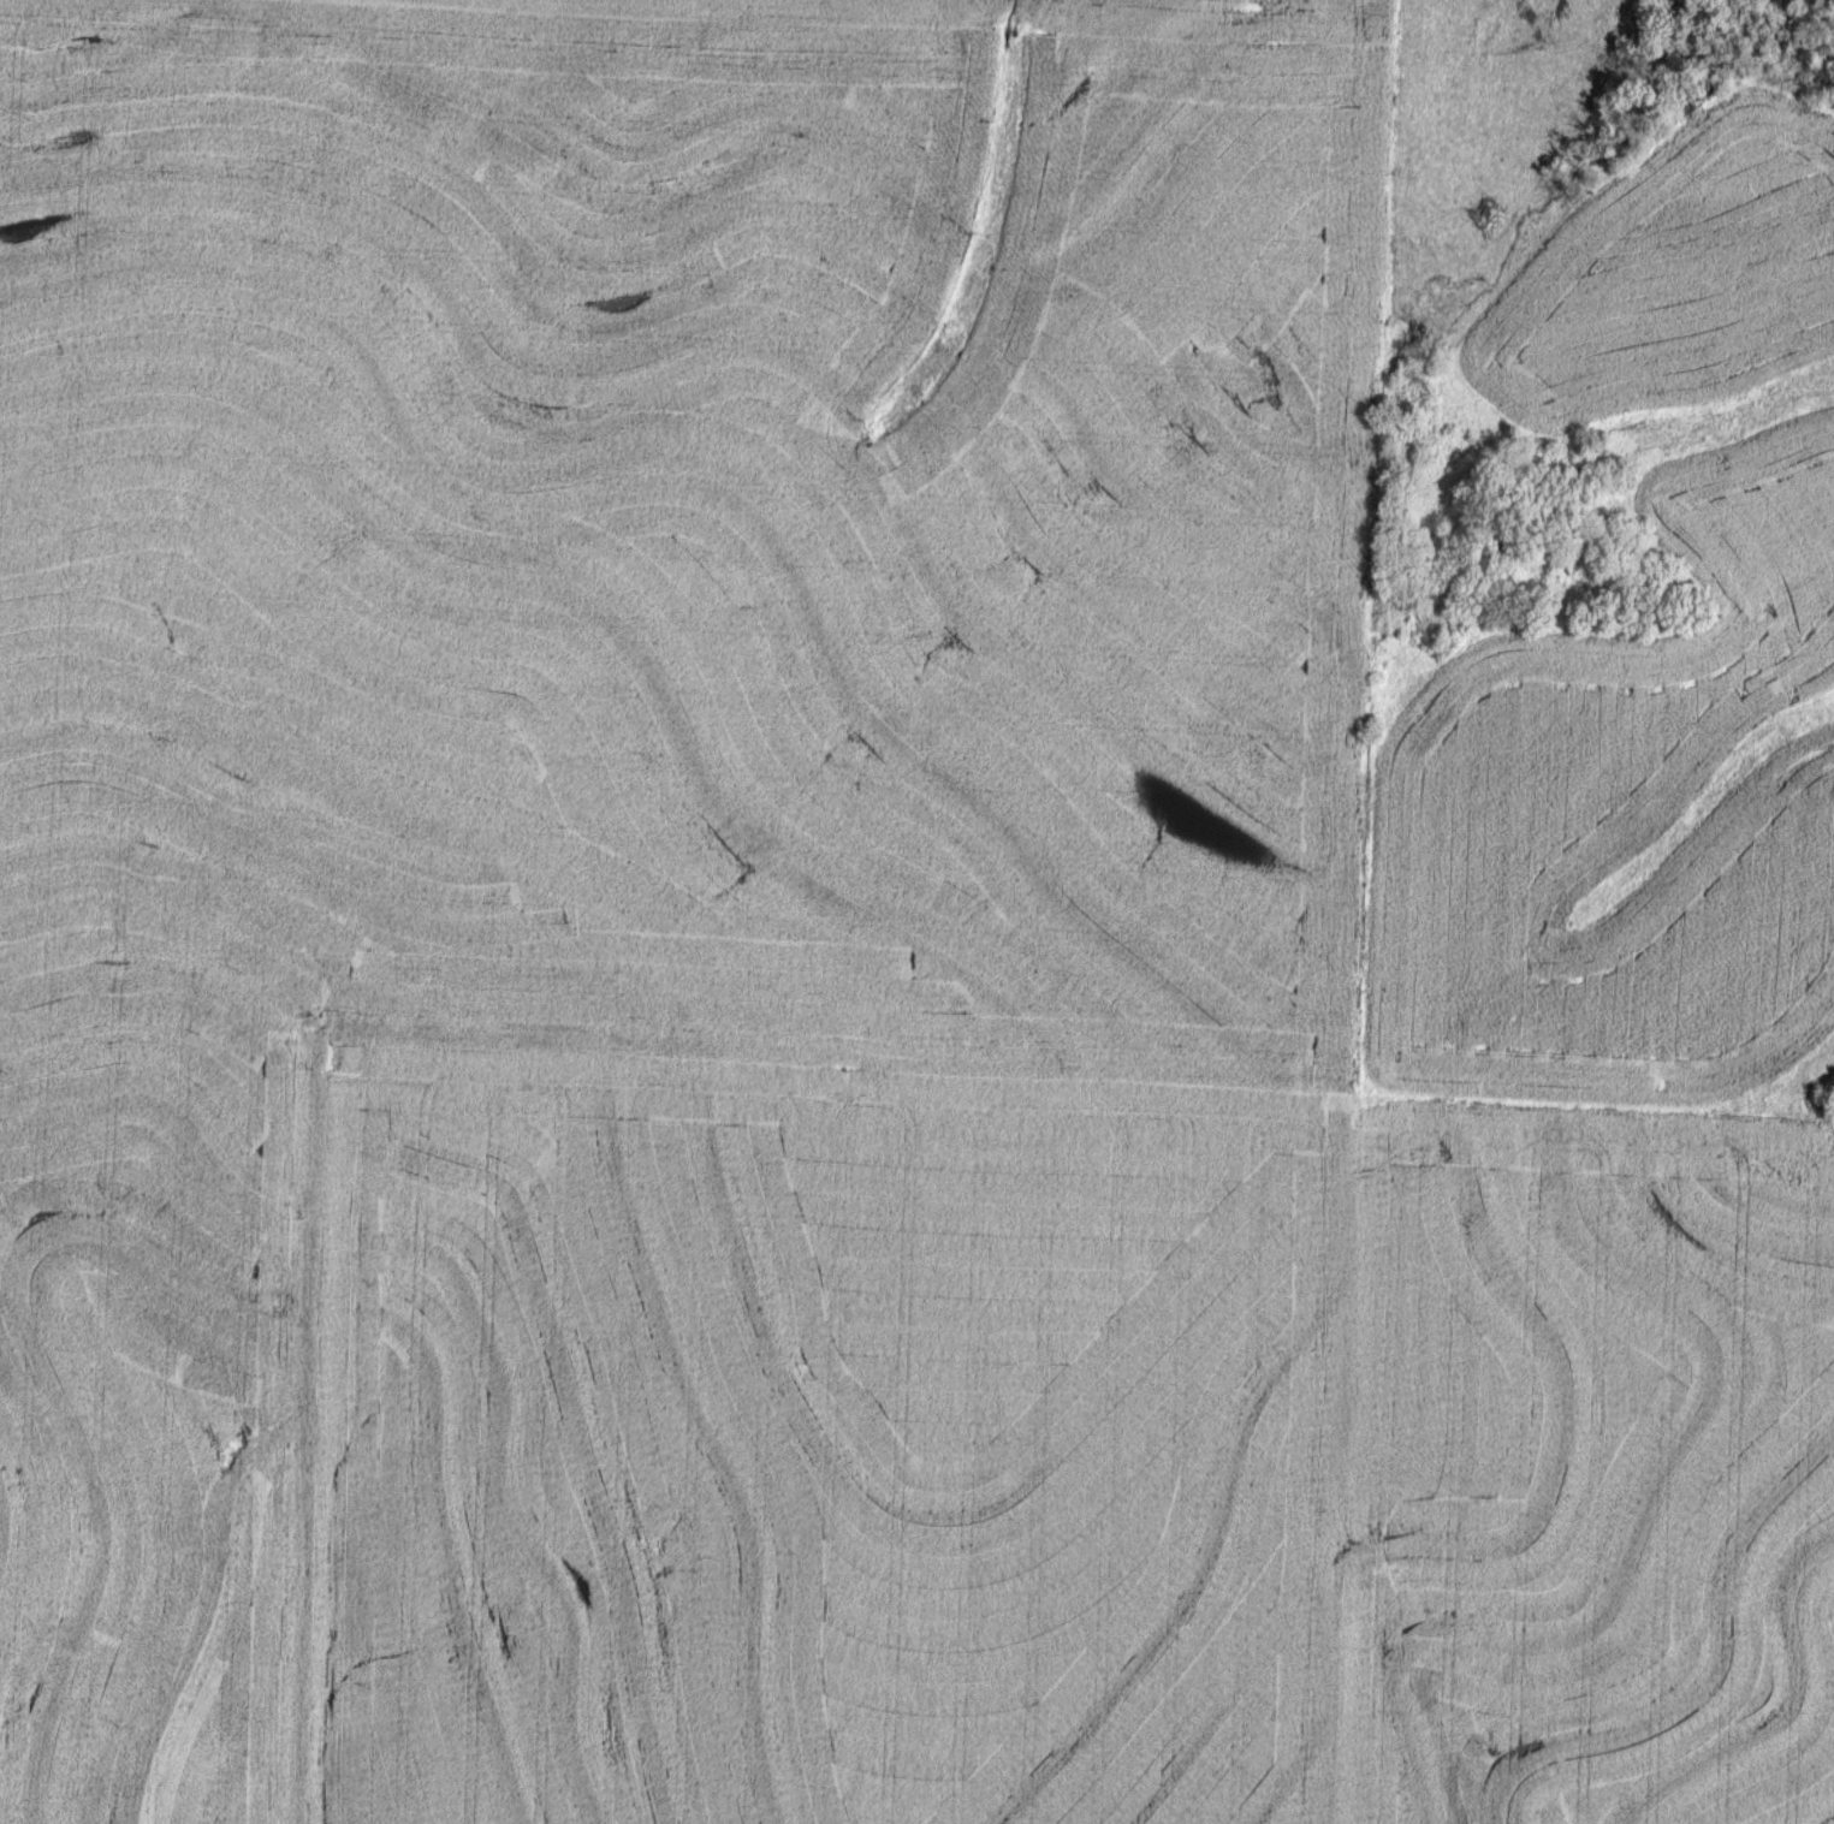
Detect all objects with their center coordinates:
road: (785, 26)

